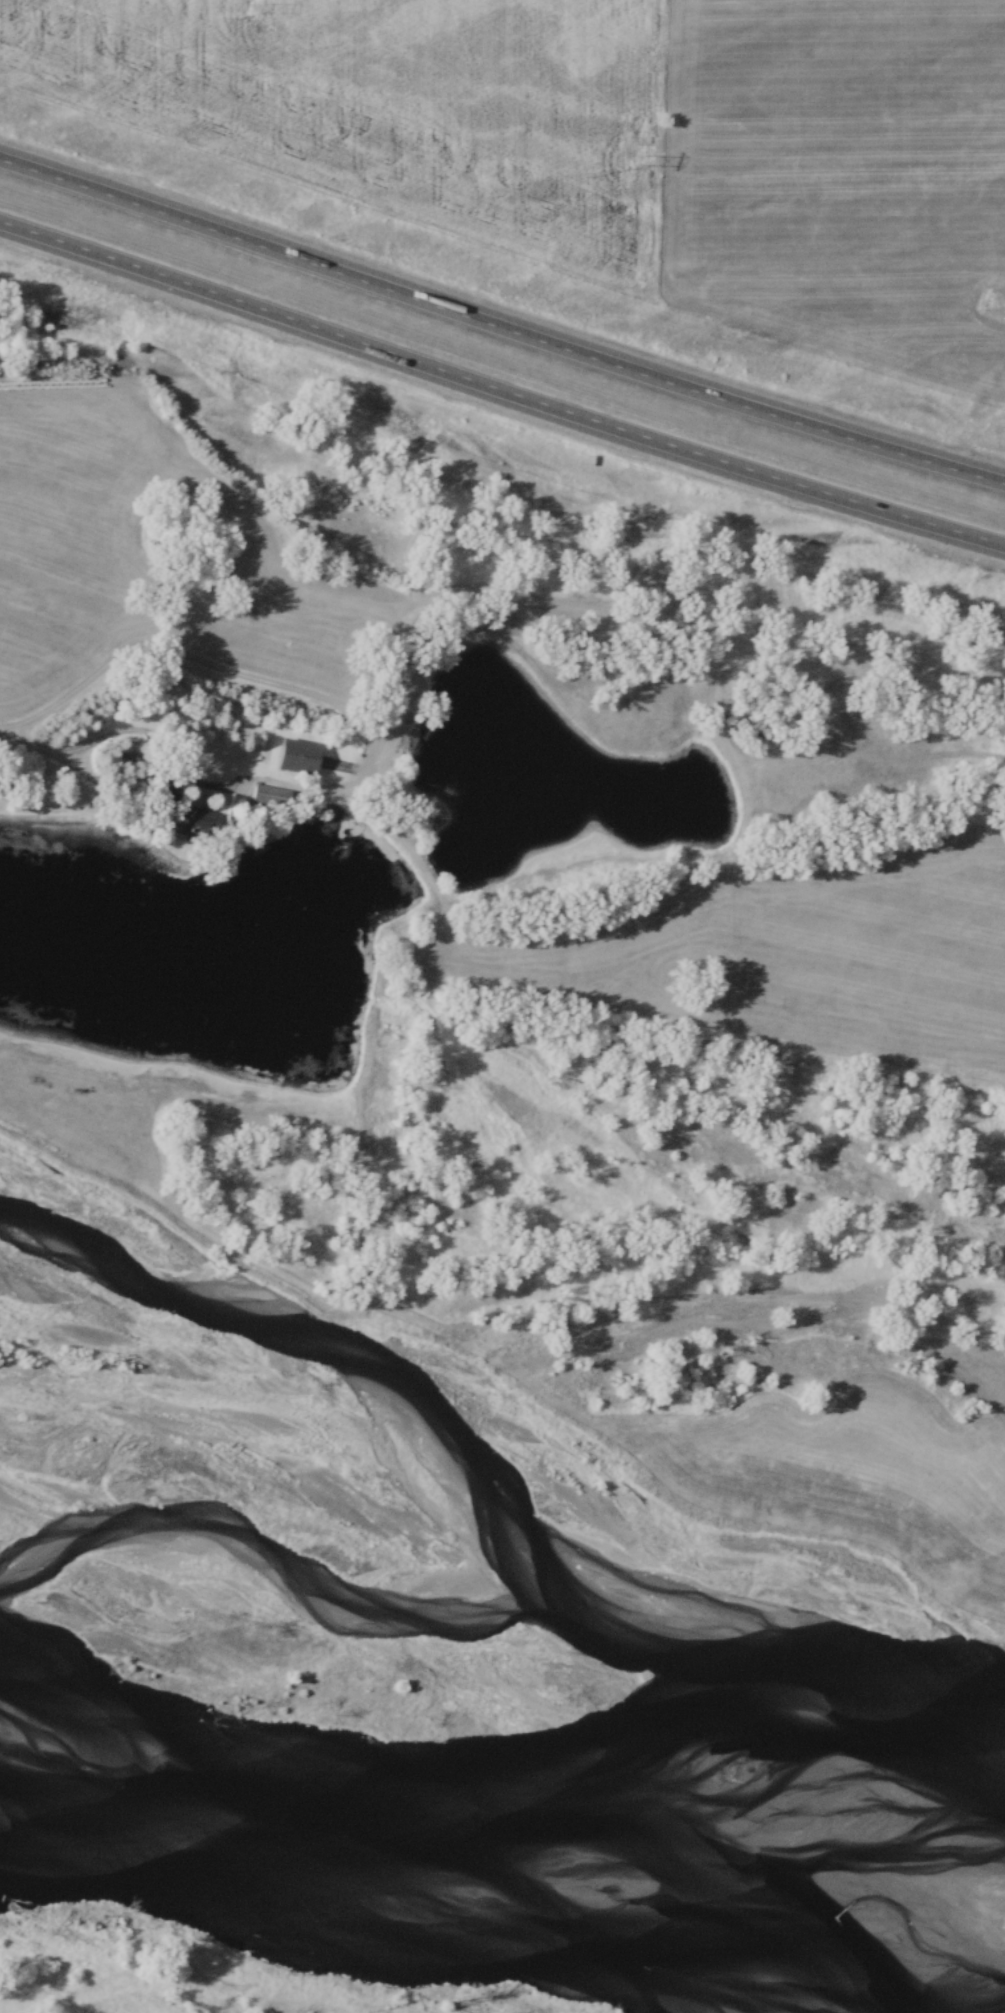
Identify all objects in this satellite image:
power tower: (252, 8)
power tower: (636, 161)
road: (499, 330)
road: (500, 393)
road: (362, 732)
road: (42, 750)
building: (306, 757)
building: (275, 795)
river: (496, 1875)

